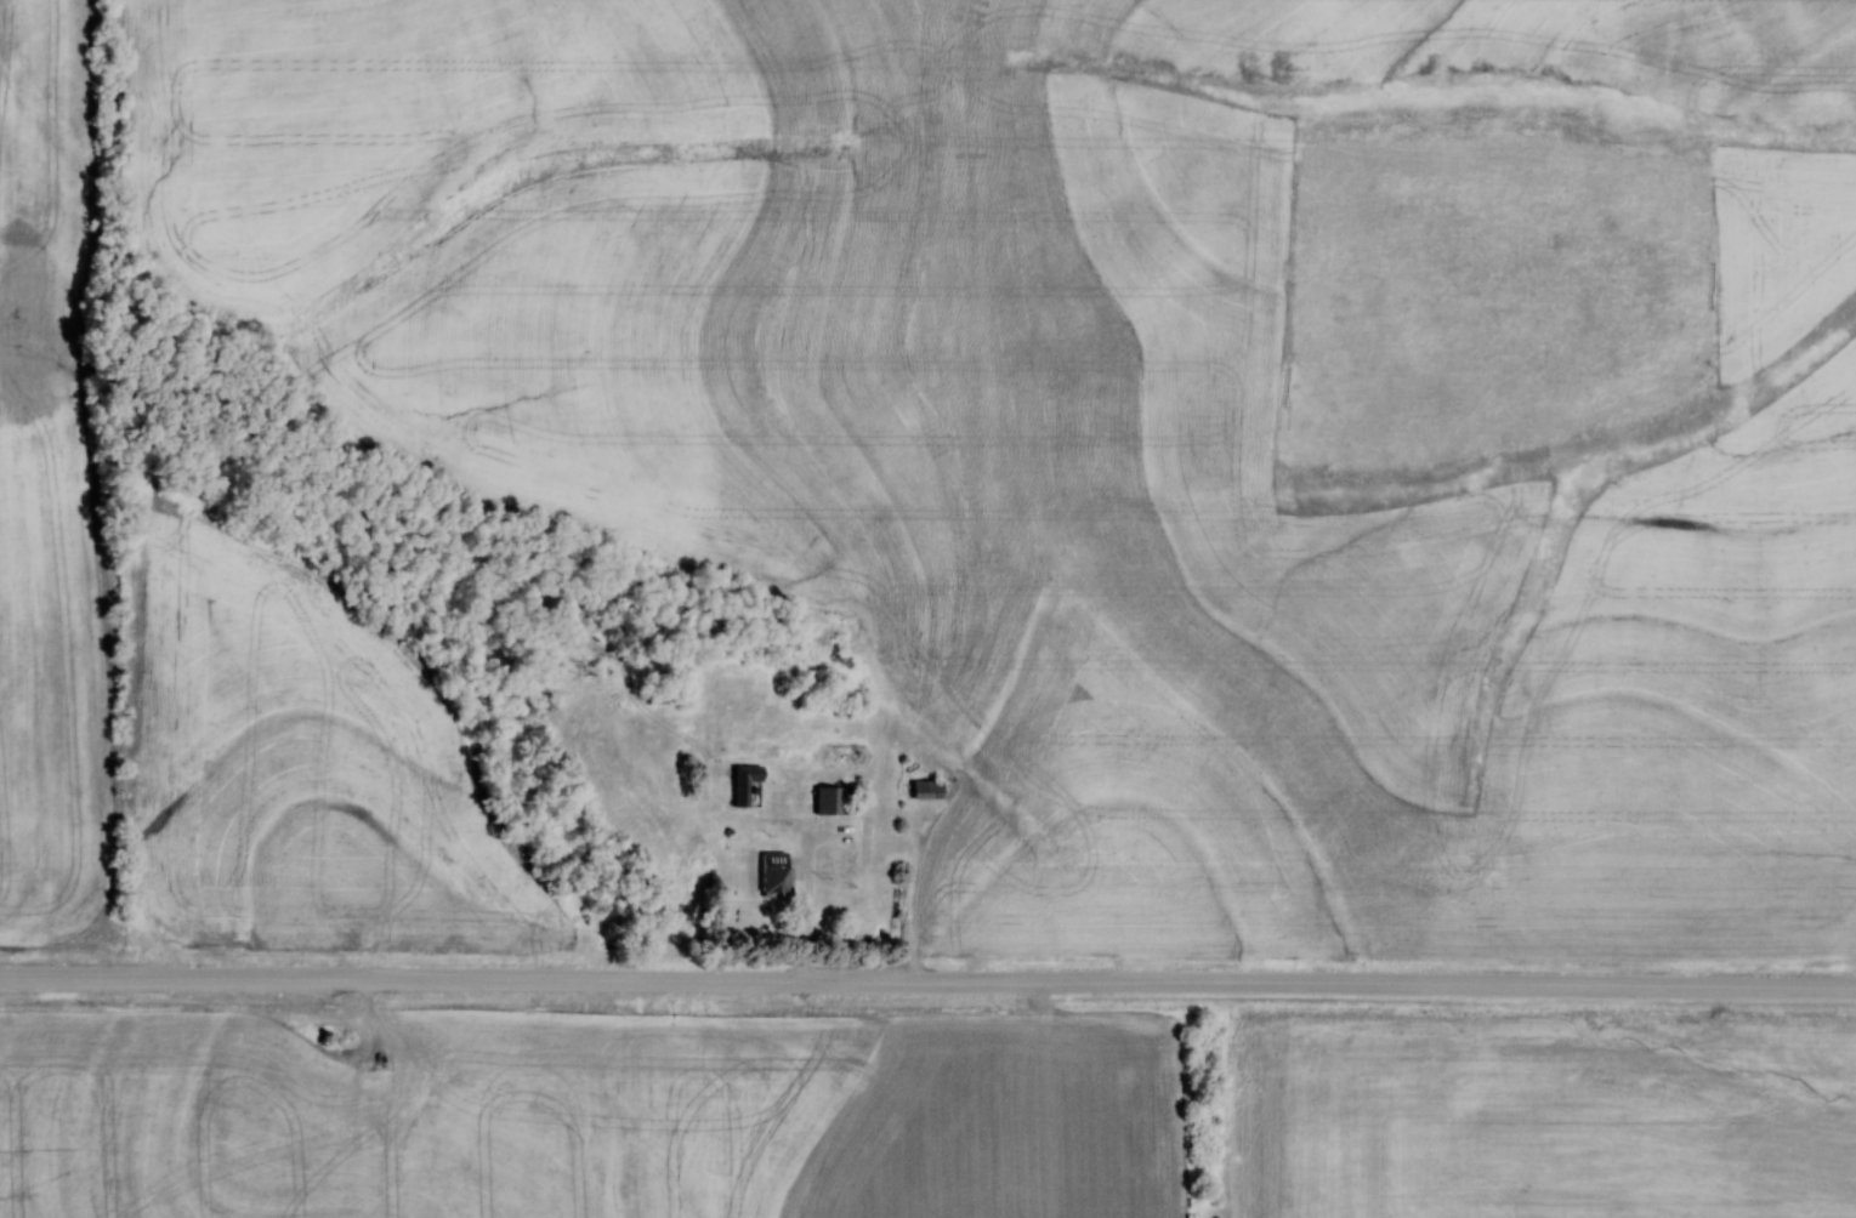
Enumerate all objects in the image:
building: (743, 781)
building: (925, 789)
building: (827, 799)
building: (772, 881)
road: (927, 963)

